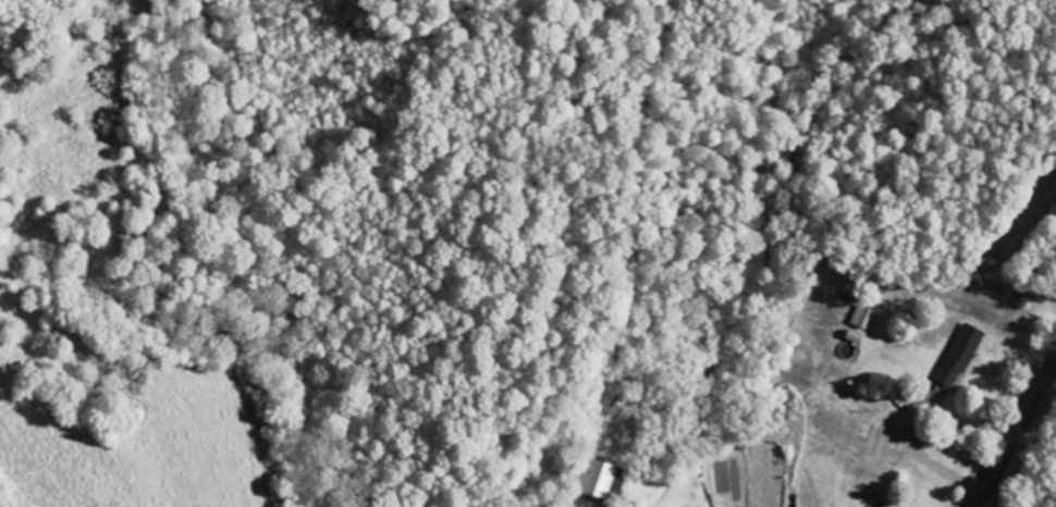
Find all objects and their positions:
building: (864, 318)
building: (856, 337)
building: (961, 357)
road: (1017, 436)
building: (604, 481)

